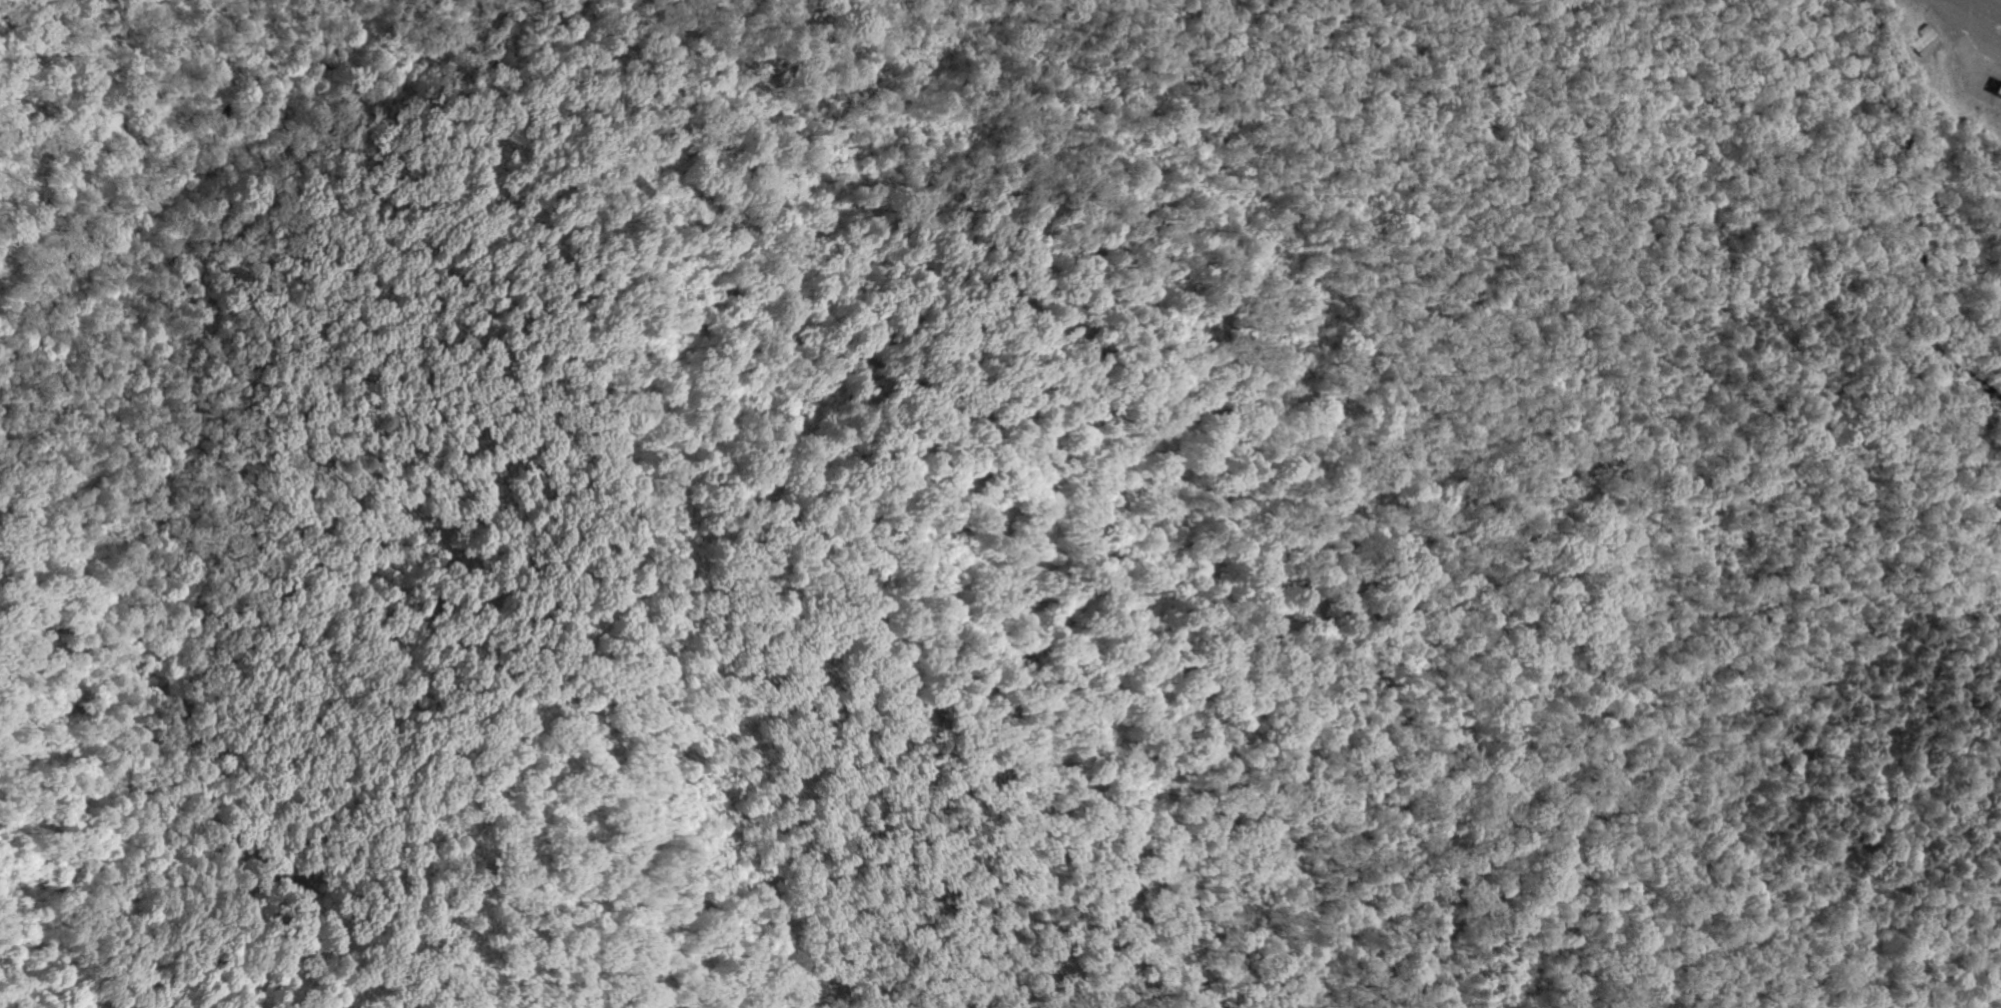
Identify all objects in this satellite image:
building: (1887, 0)
building: (1995, 92)

